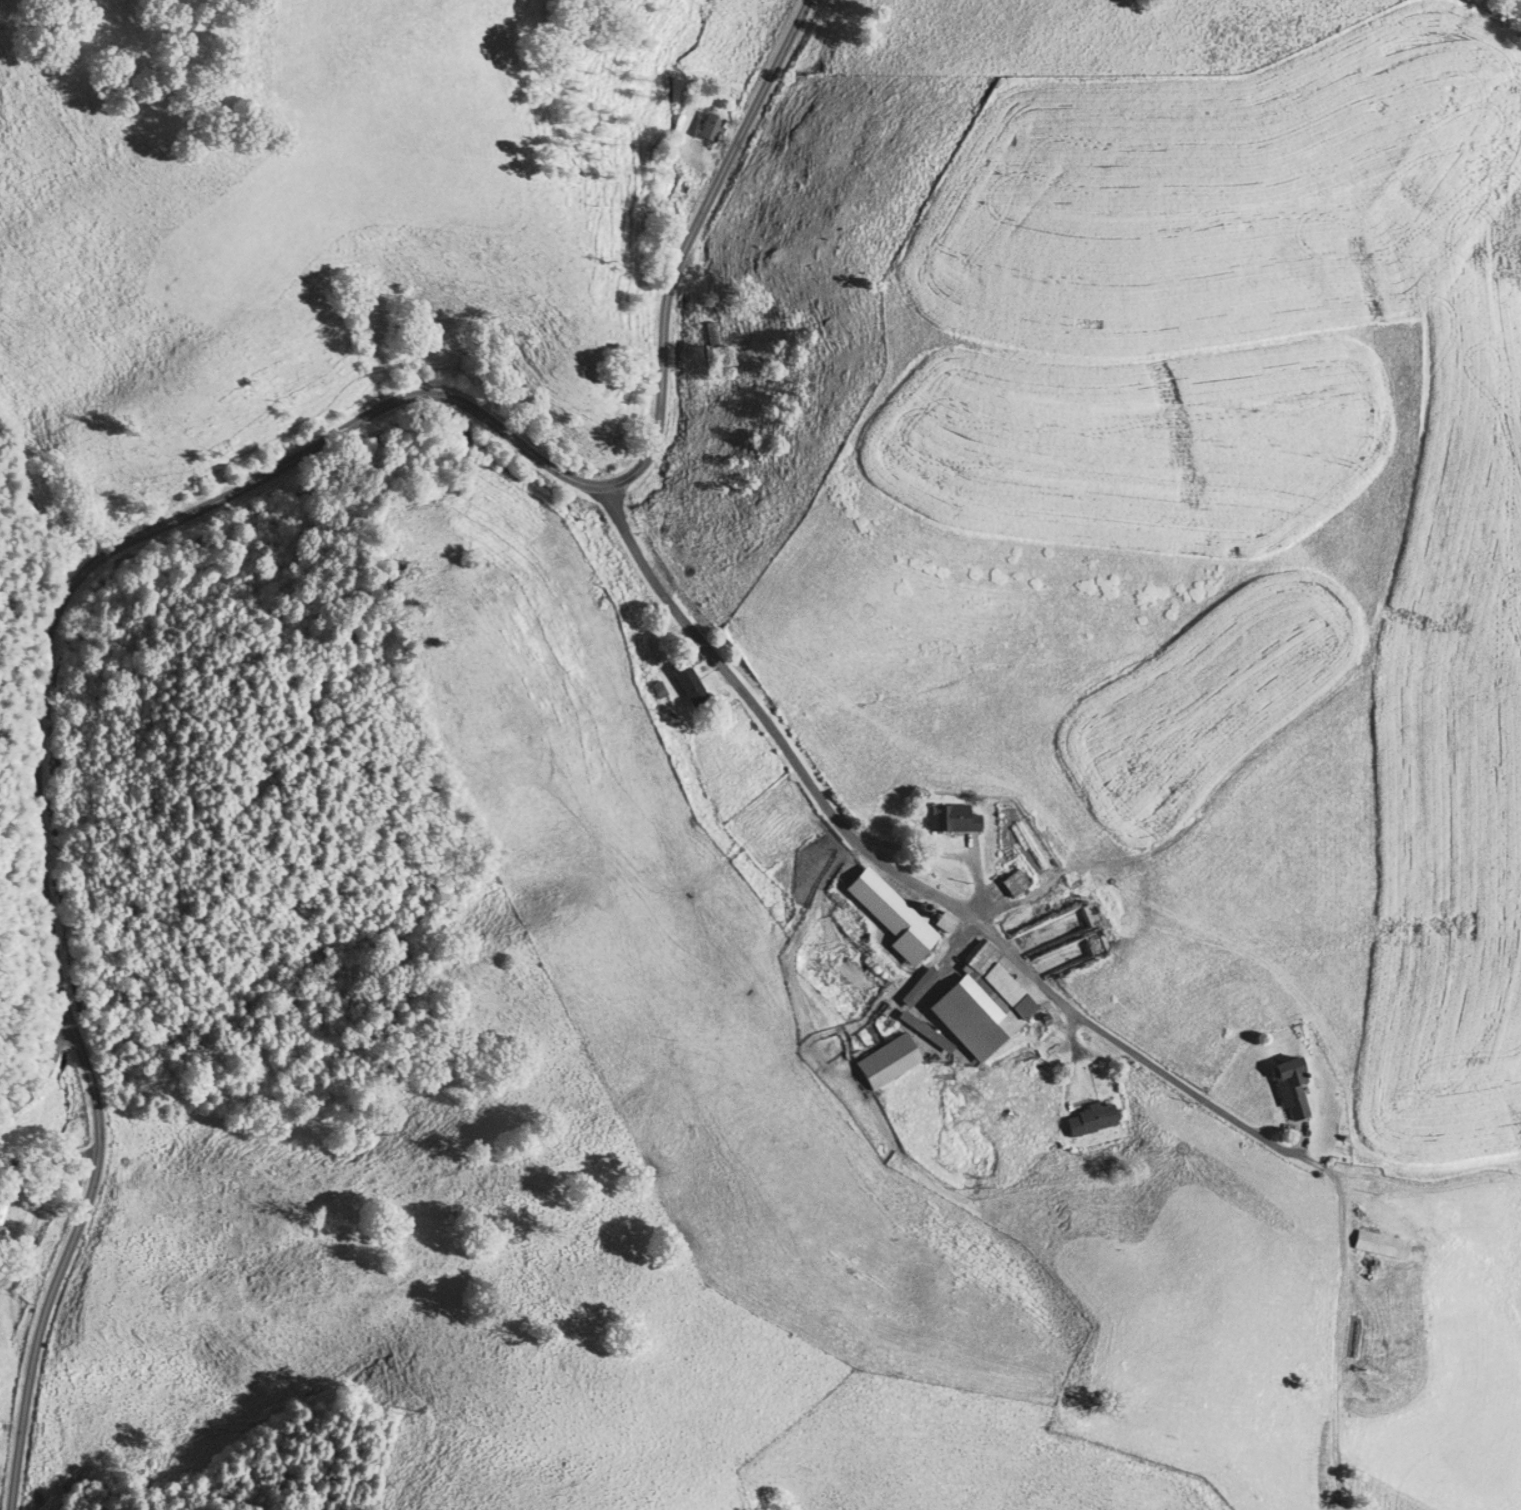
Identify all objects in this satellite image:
building: (710, 126)
building: (711, 337)
road: (425, 396)
building: (689, 682)
building: (954, 817)
building: (1014, 881)
road: (914, 884)
building: (895, 932)
building: (968, 1006)
building: (887, 1060)
road: (40, 1070)
building: (1292, 1086)
building: (1090, 1119)
building: (3, 1205)
road: (81, 1218)
building: (1381, 1244)

